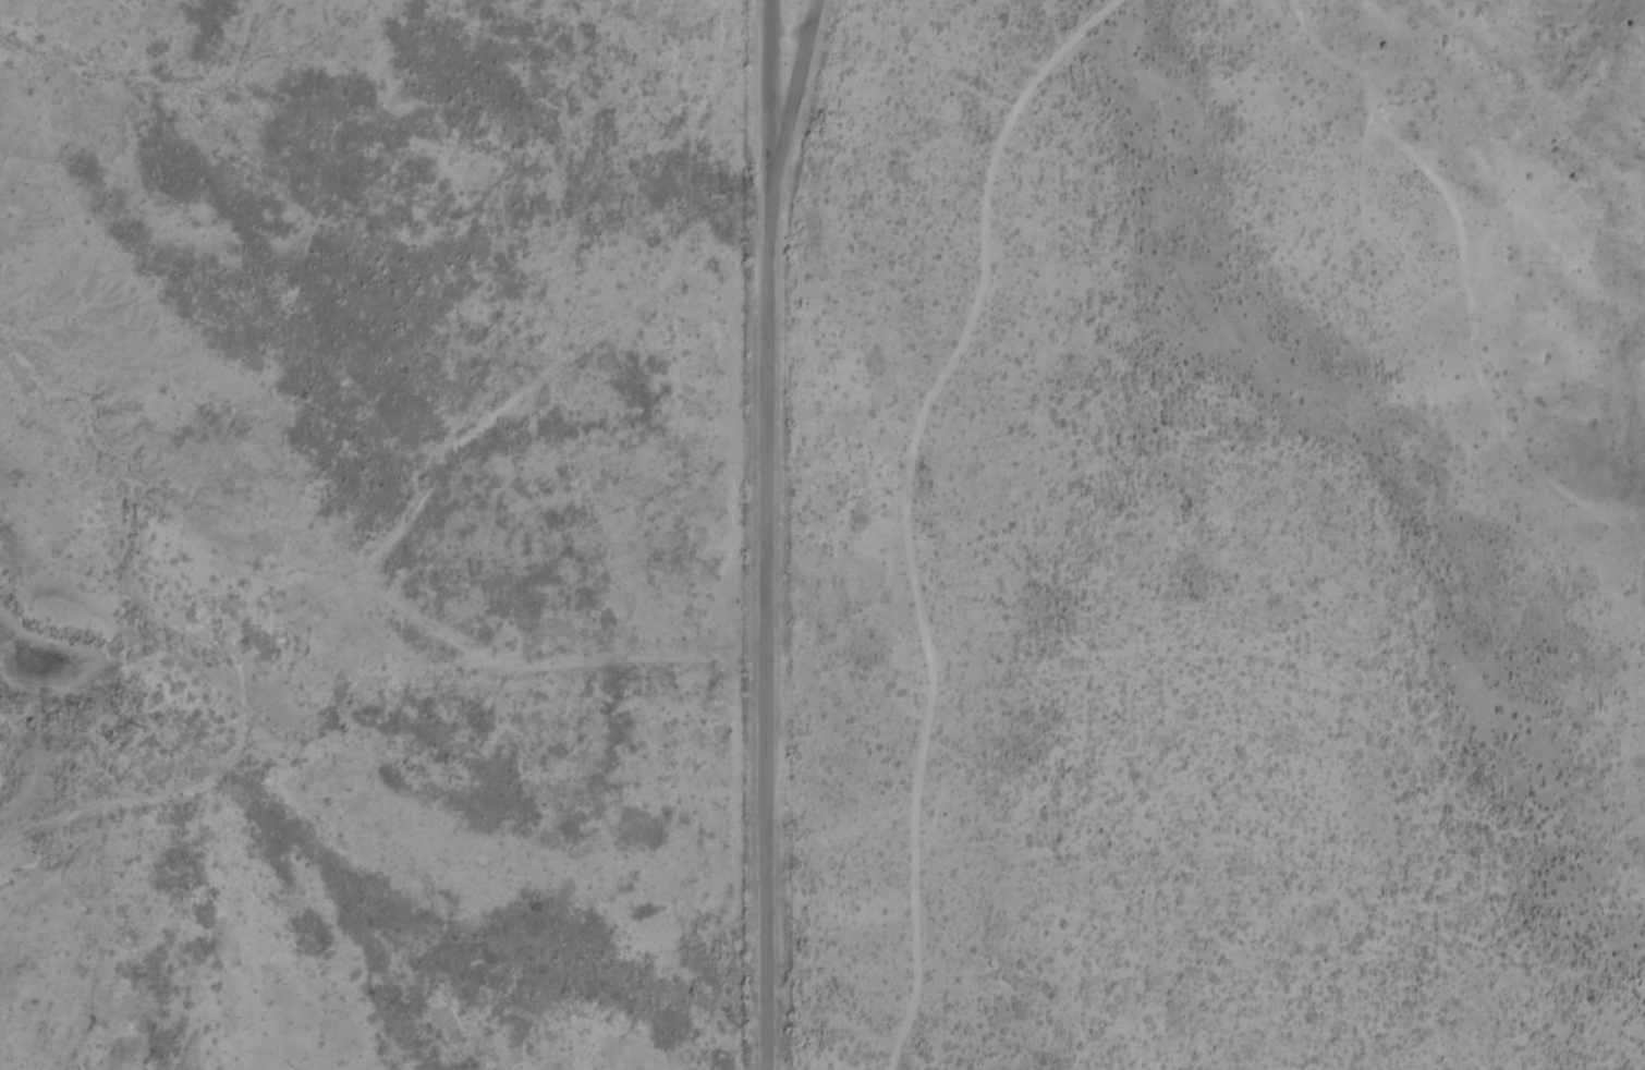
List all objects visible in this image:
road: (793, 100)
road: (765, 534)

